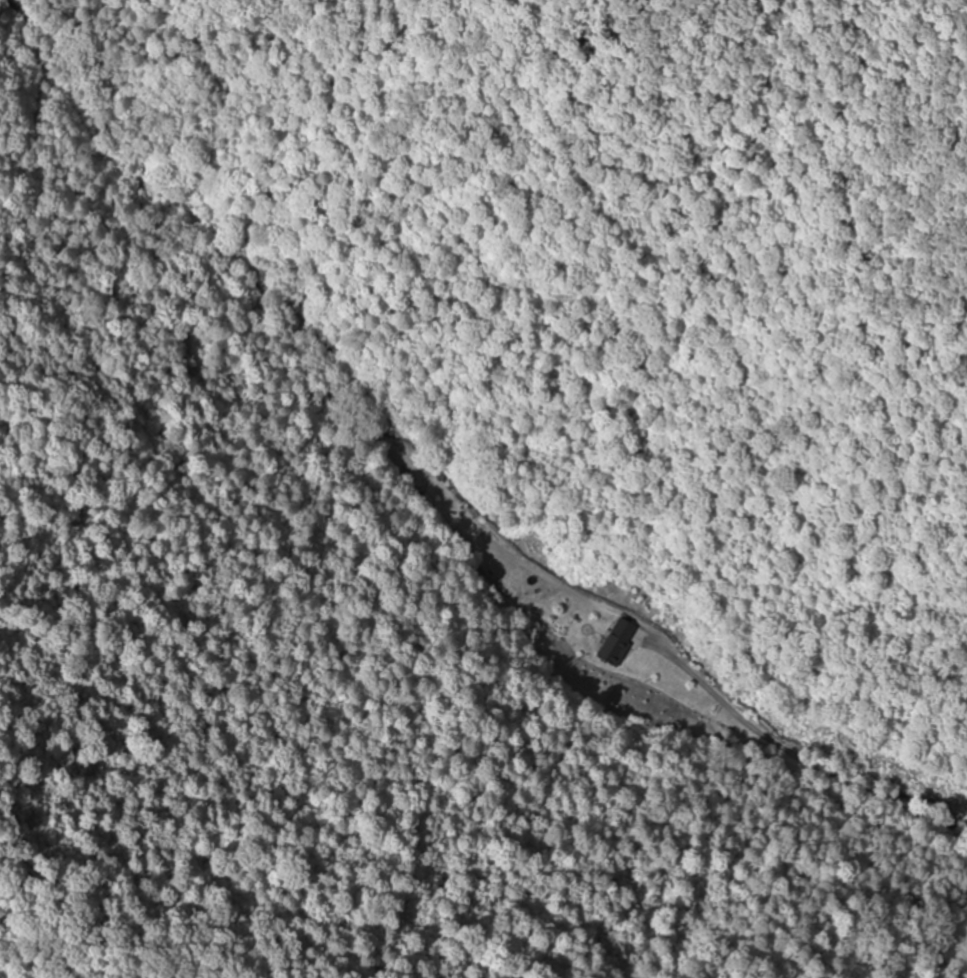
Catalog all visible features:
building: (615, 642)

